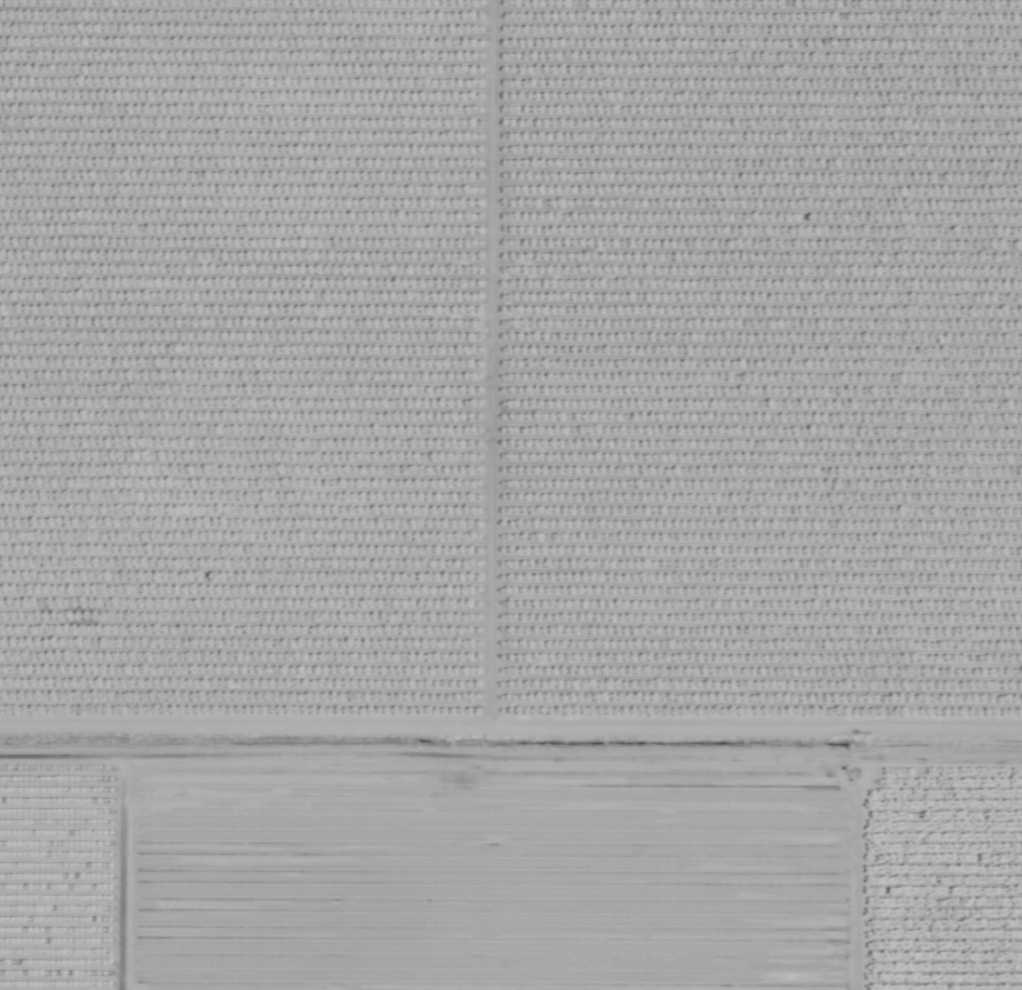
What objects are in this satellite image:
crop: (511, 495)

